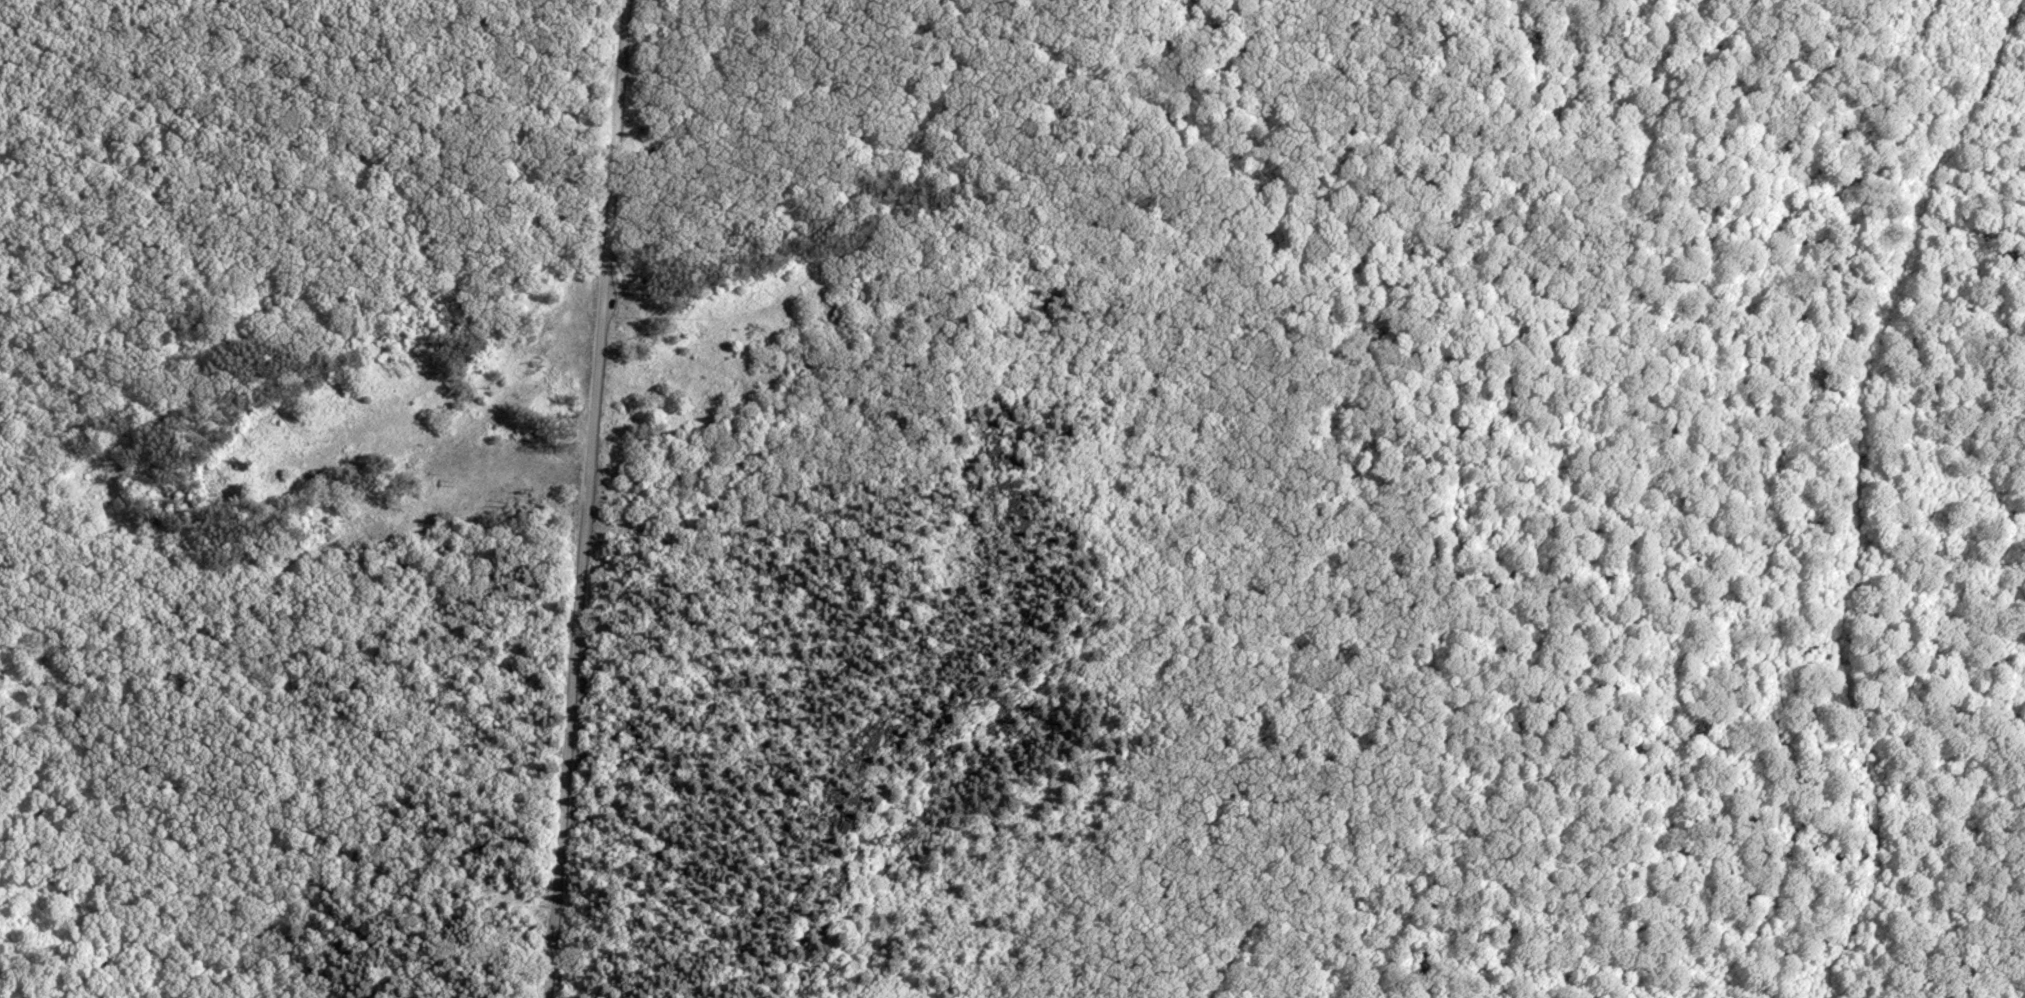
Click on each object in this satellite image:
road: (588, 499)
road: (3, 995)

